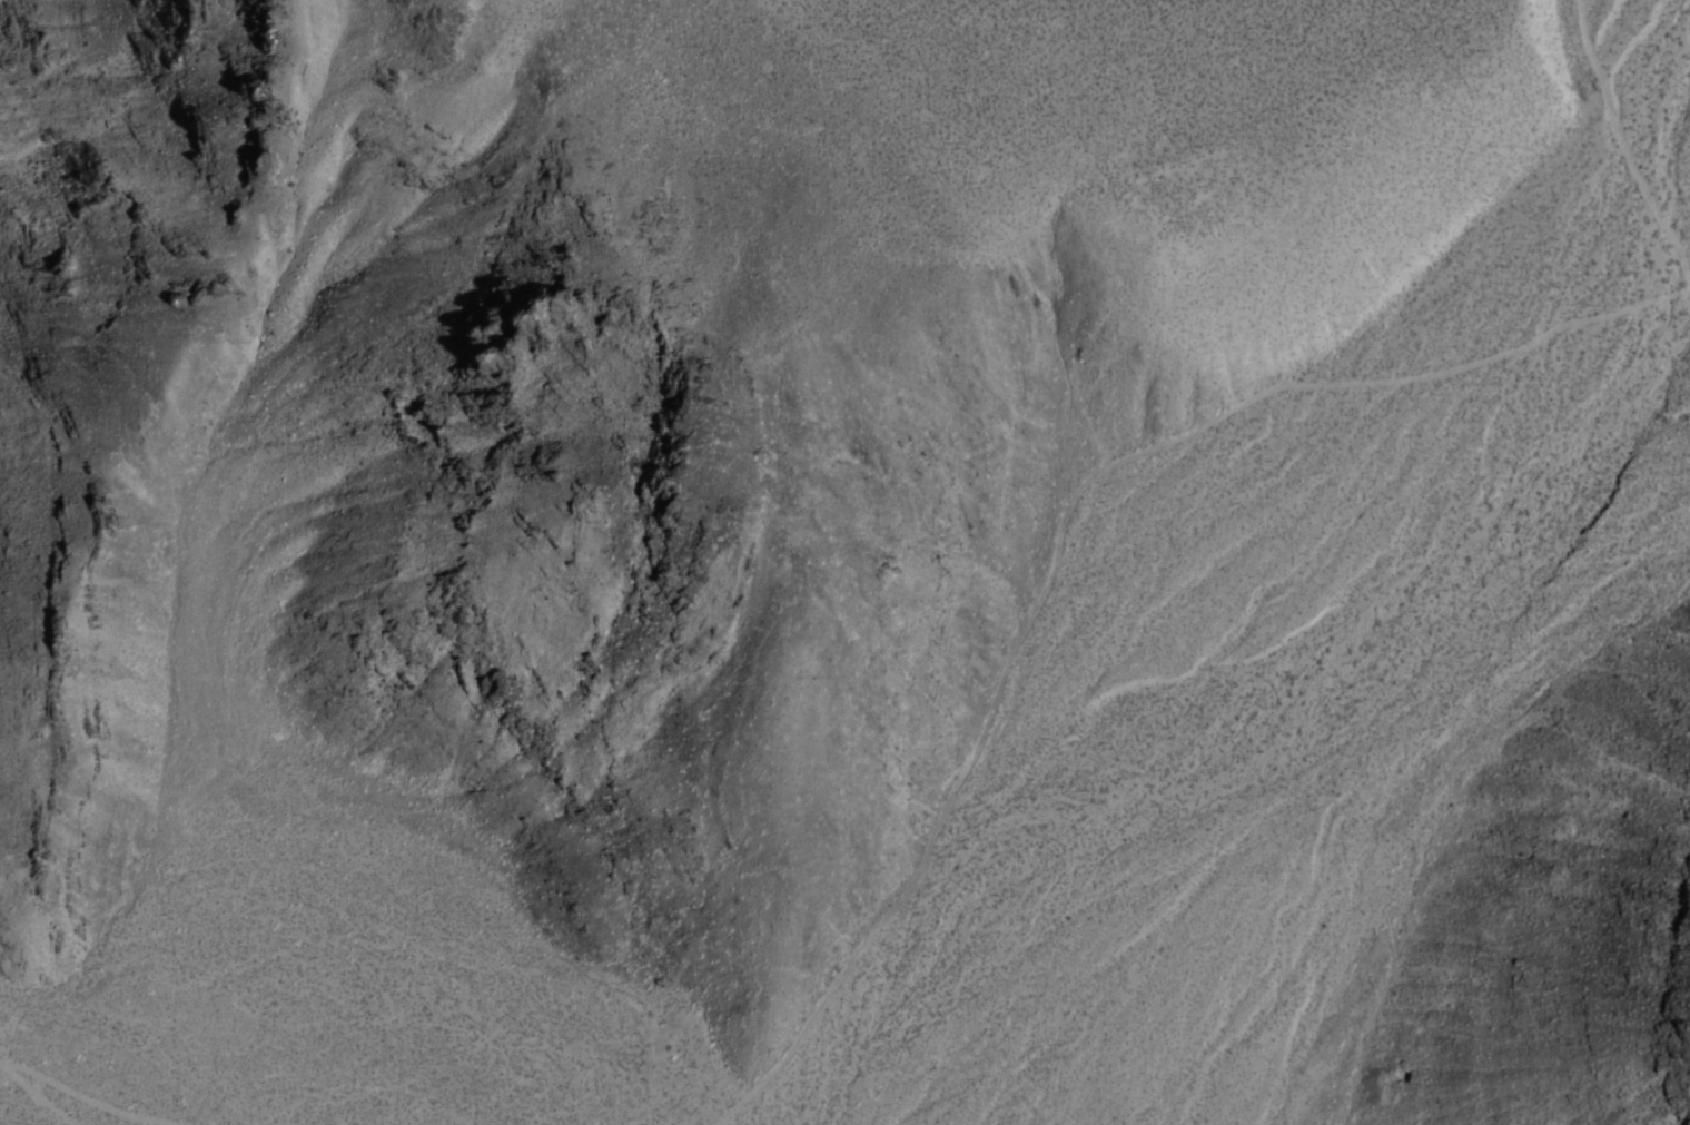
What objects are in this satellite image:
road: (1628, 137)
road: (1492, 368)
road: (991, 726)
road: (77, 1095)

